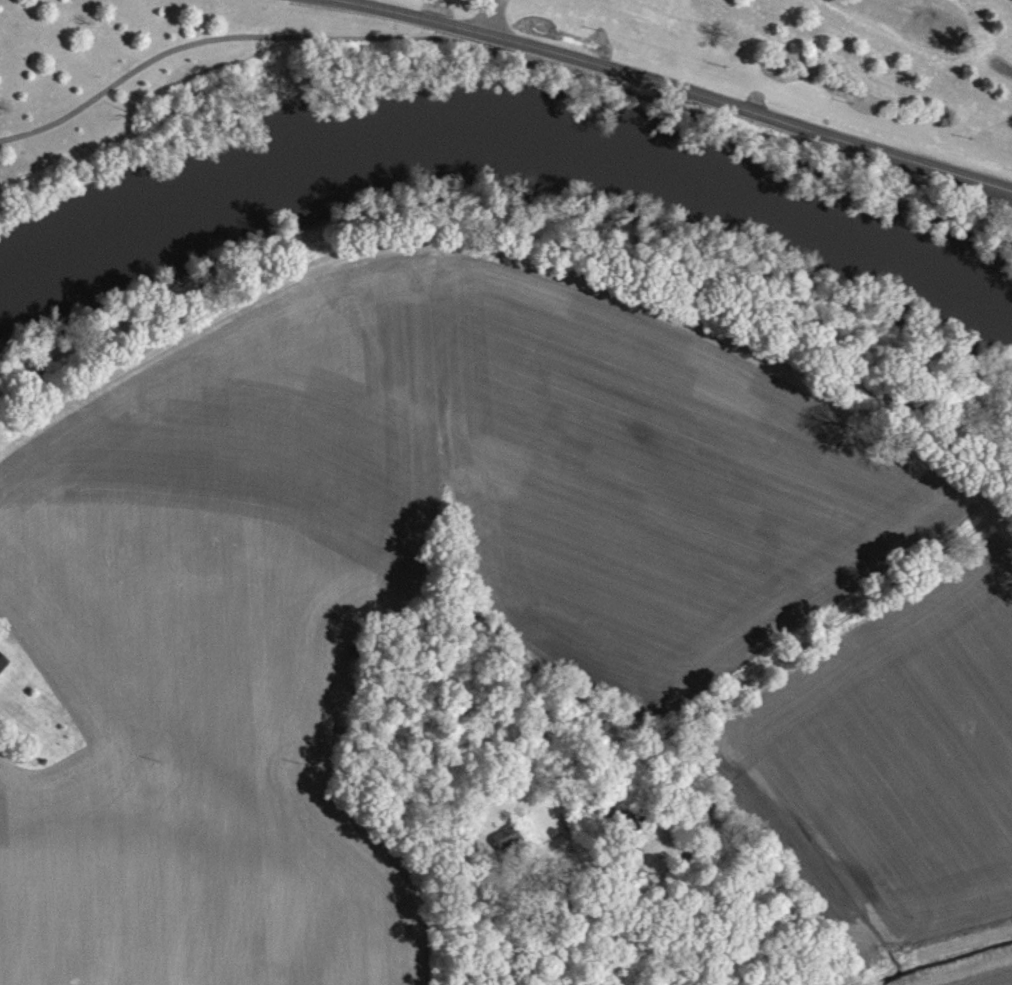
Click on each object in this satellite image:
road: (504, 55)
road: (673, 88)
park: (873, 92)
river: (509, 126)
road: (519, 262)
building: (3, 669)
building: (500, 849)

